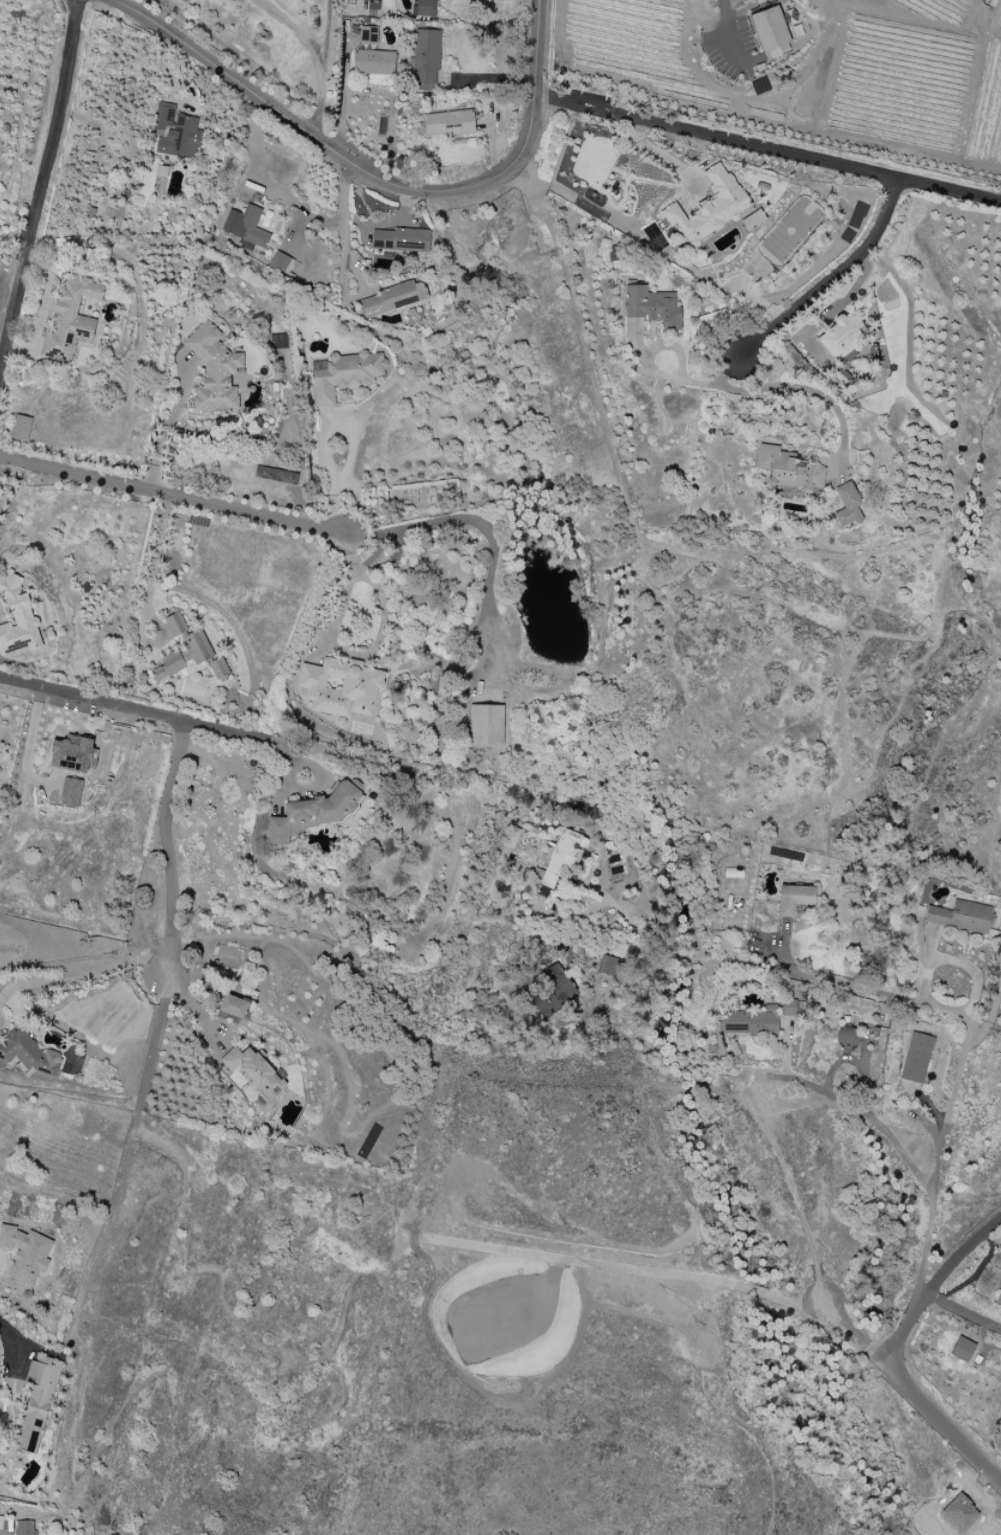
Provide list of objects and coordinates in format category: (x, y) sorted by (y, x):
building: (423, 9)
road: (295, 28)
building: (769, 28)
building: (367, 35)
road: (728, 38)
building: (426, 60)
building: (373, 62)
road: (324, 69)
road: (487, 79)
building: (448, 123)
building: (175, 132)
road: (767, 147)
road: (372, 177)
road: (39, 179)
building: (709, 206)
building: (245, 228)
road: (340, 231)
building: (401, 240)
building: (280, 262)
road: (830, 276)
building: (393, 298)
building: (652, 307)
building: (69, 319)
building: (843, 336)
road: (647, 361)
building: (214, 370)
building: (343, 374)
road: (795, 386)
building: (20, 428)
road: (159, 446)
building: (790, 470)
road: (5, 474)
road: (173, 497)
building: (846, 505)
road: (148, 597)
building: (16, 619)
building: (175, 624)
building: (184, 656)
road: (344, 658)
building: (218, 668)
building: (340, 687)
road: (151, 712)
building: (485, 725)
building: (73, 754)
building: (70, 792)
building: (315, 813)
road: (167, 836)
building: (510, 837)
building: (559, 857)
building: (794, 899)
building: (960, 917)
road: (271, 946)
building: (609, 966)
road: (755, 967)
road: (81, 979)
road: (188, 1001)
building: (233, 1006)
building: (790, 1008)
road: (969, 1019)
building: (750, 1022)
building: (847, 1037)
building: (28, 1053)
building: (915, 1057)
building: (254, 1069)
road: (911, 1164)
building: (25, 1253)
building: (999, 1294)
road: (963, 1309)
road: (861, 1335)
road: (12, 1345)
road: (897, 1350)
building: (962, 1350)
building: (37, 1403)
building: (959, 1512)
building: (26, 1529)

